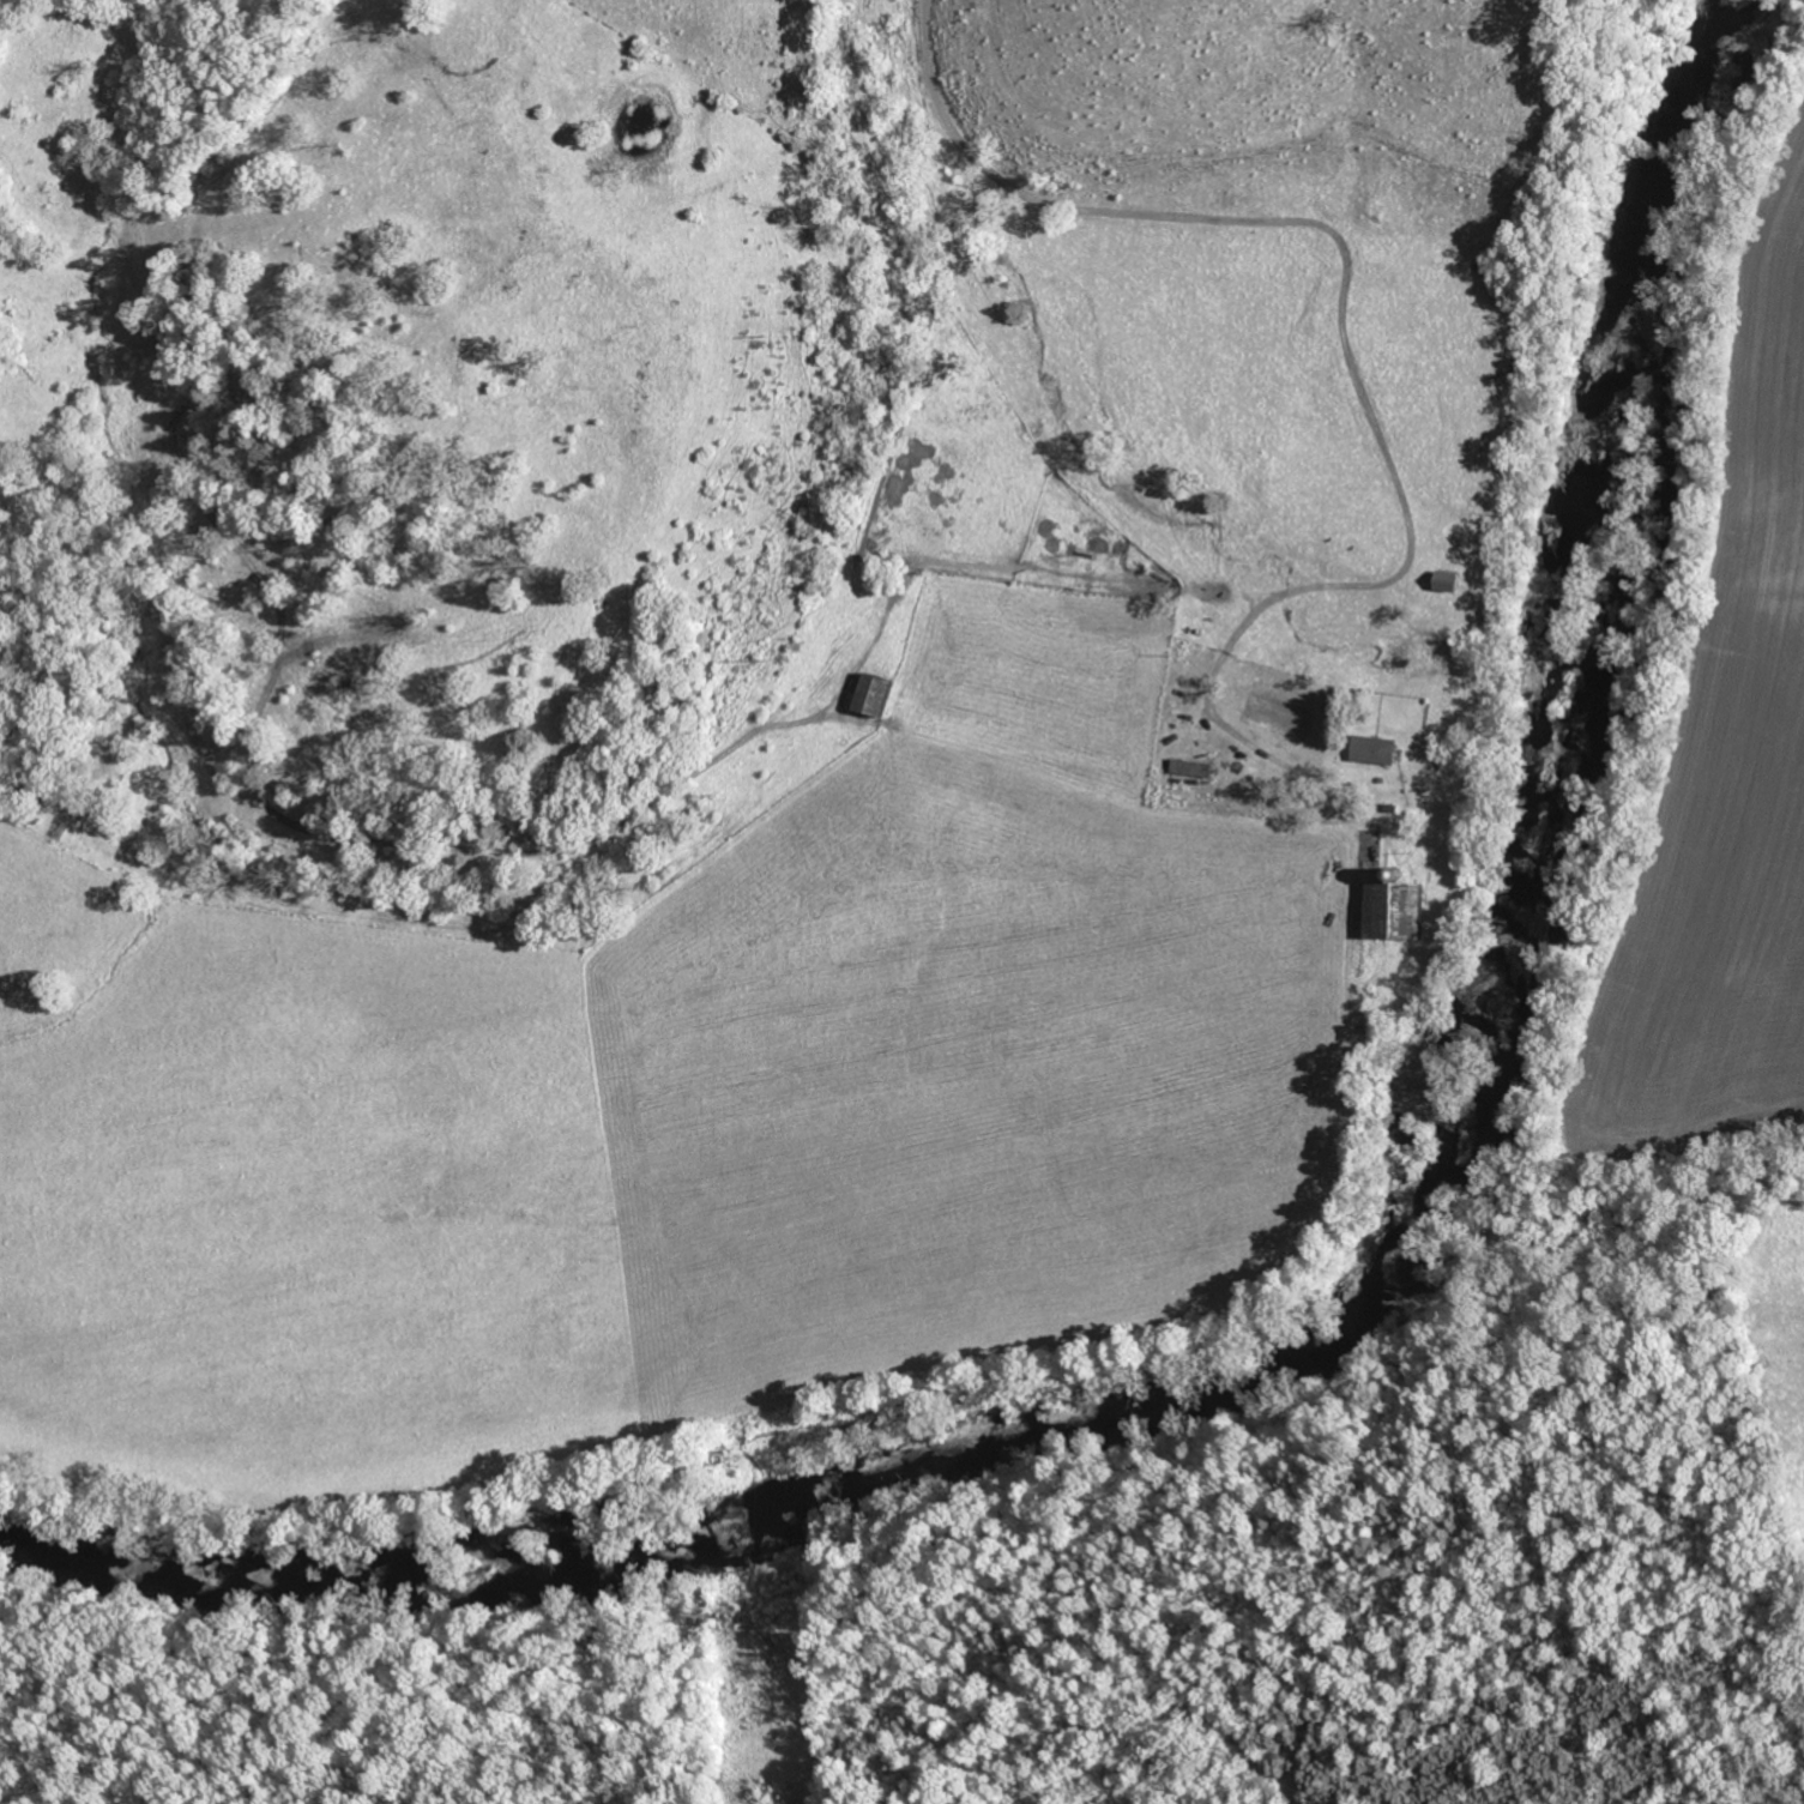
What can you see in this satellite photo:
road: (1338, 316)
building: (1441, 580)
building: (862, 693)
building: (1370, 749)
building: (1387, 910)
river: (1350, 1321)

